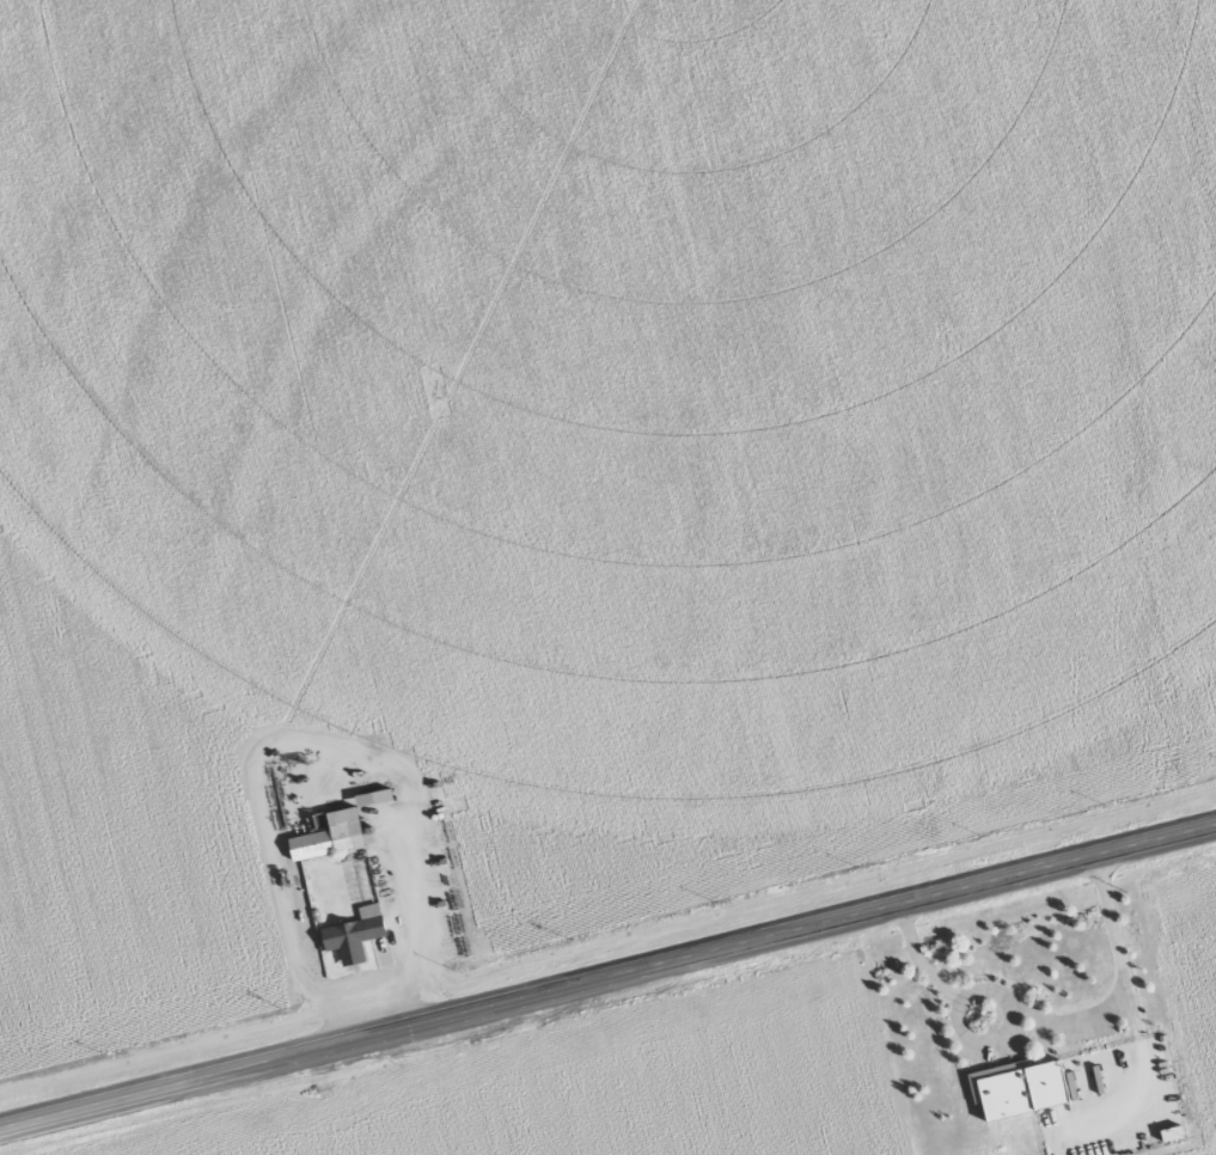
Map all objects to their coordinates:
building: (331, 836)
building: (349, 939)
road: (607, 976)
building: (1023, 1090)

